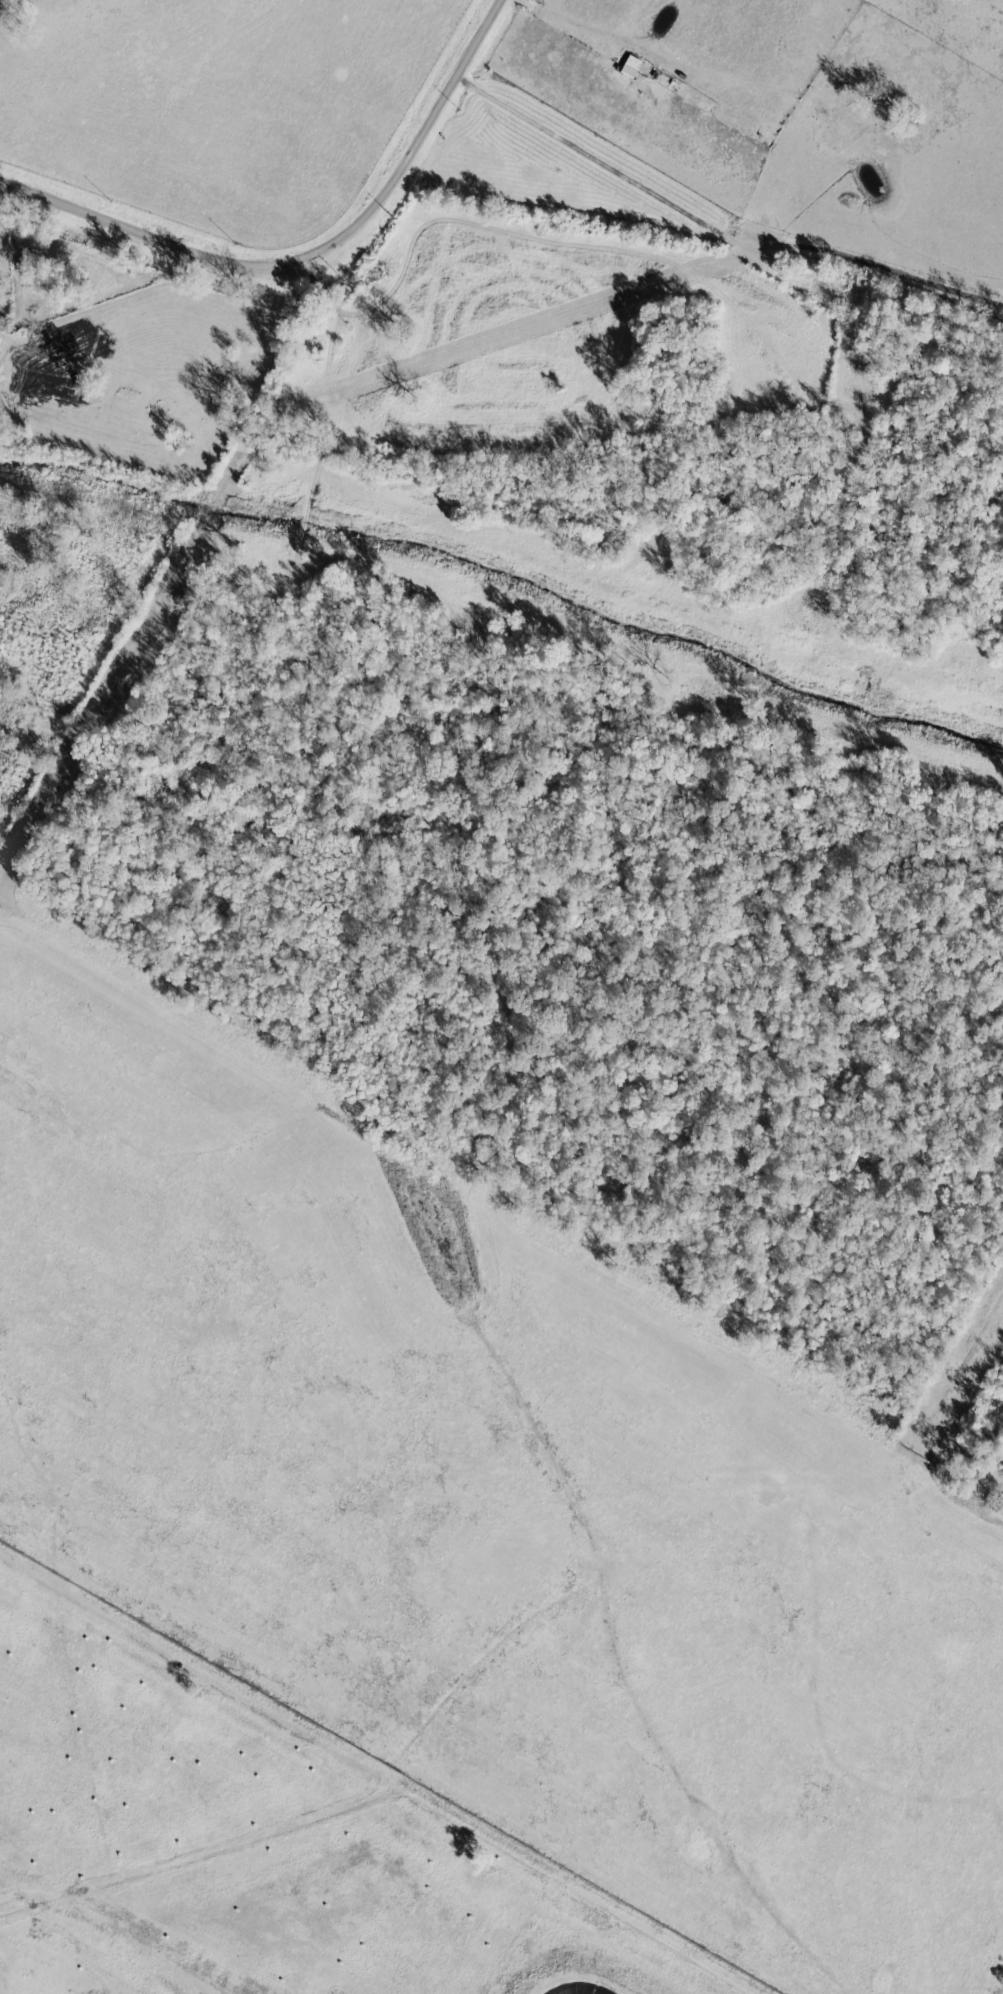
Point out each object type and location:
road: (315, 272)

